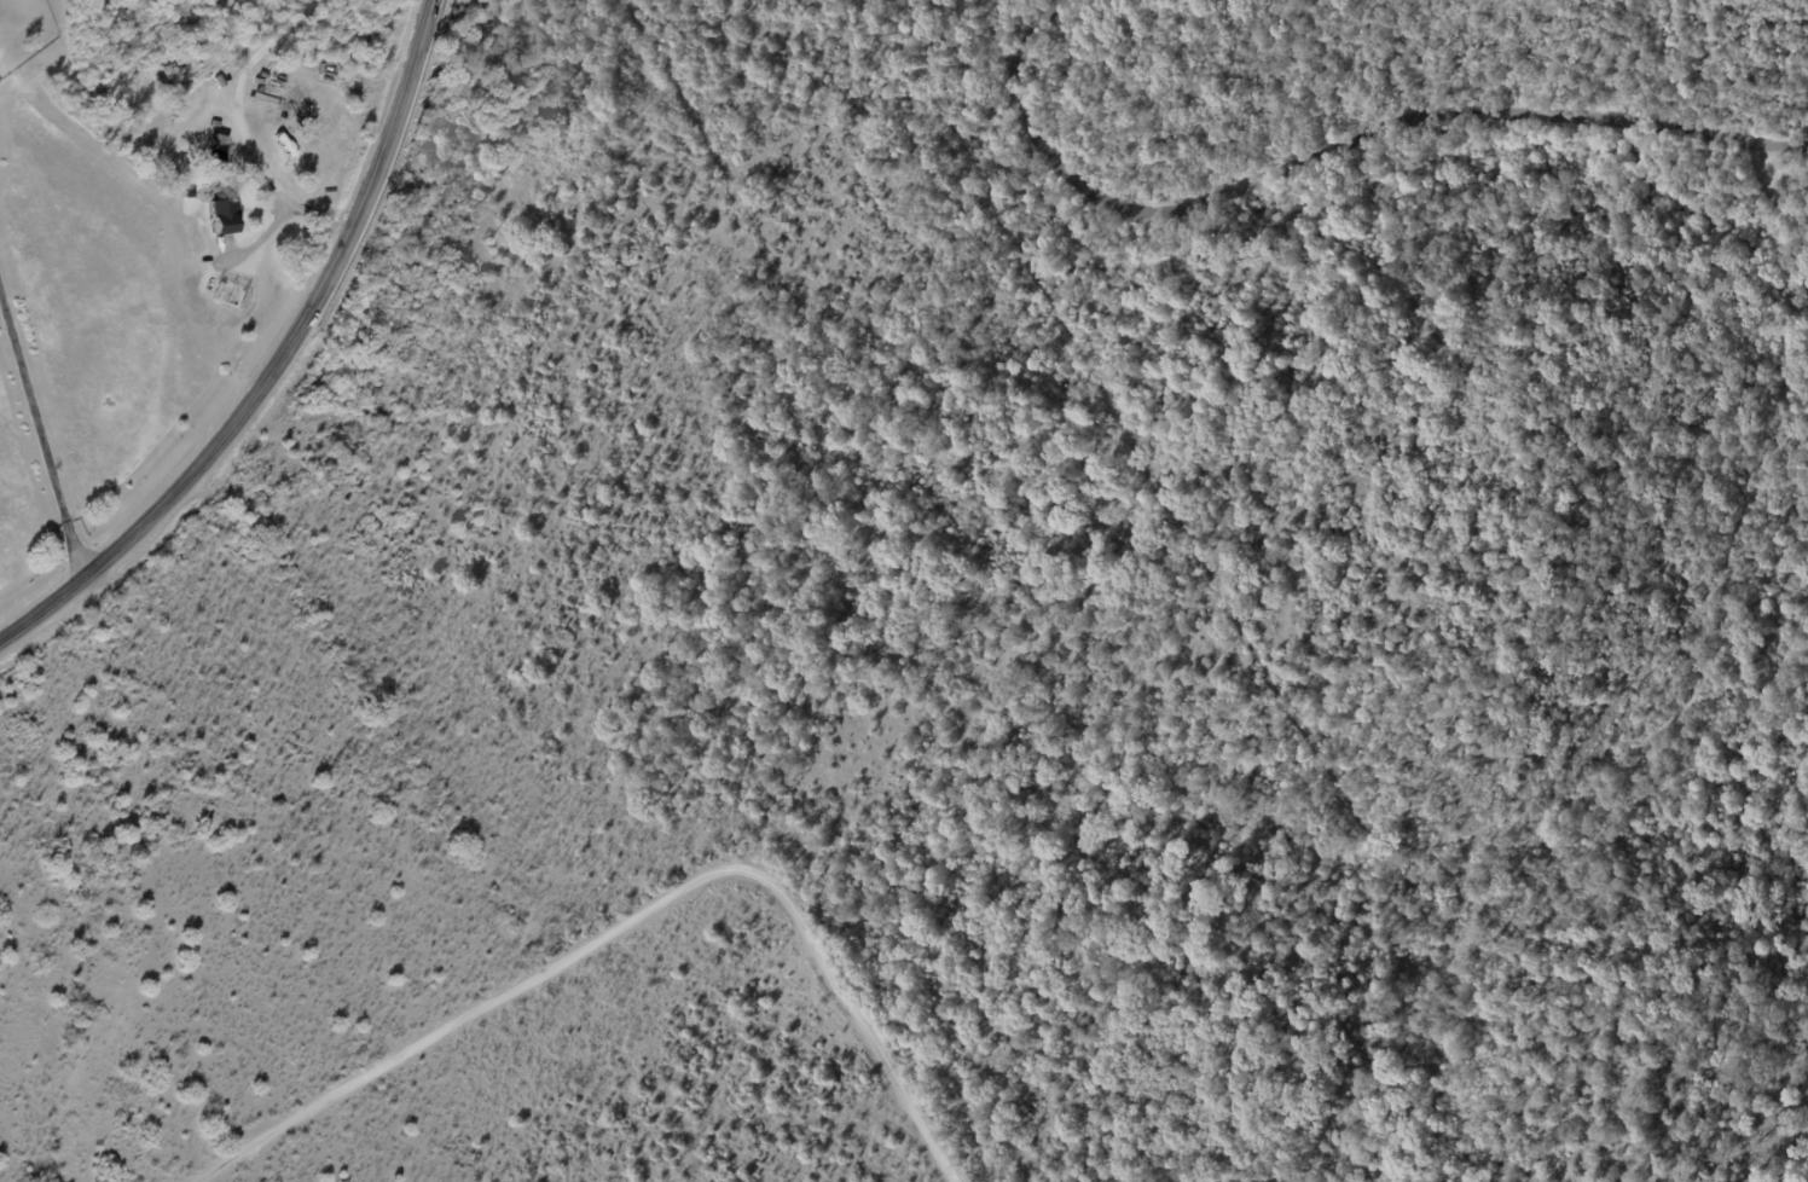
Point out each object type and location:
road: (236, 129)
road: (1328, 146)
building: (225, 215)
road: (277, 363)
park: (1451, 407)
road: (40, 436)
road: (634, 916)

